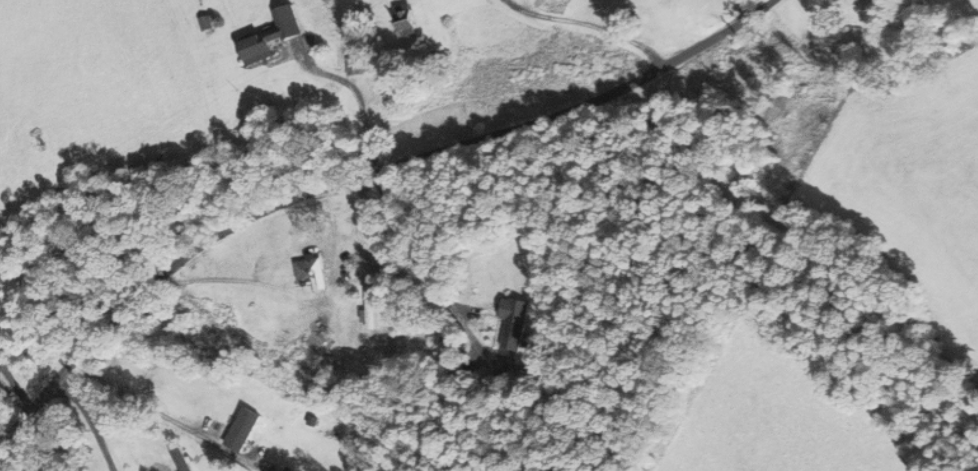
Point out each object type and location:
building: (408, 19)
building: (206, 24)
building: (259, 48)
building: (355, 66)
road: (369, 168)
building: (310, 266)
road: (390, 283)
building: (515, 322)
building: (251, 419)
building: (269, 456)

